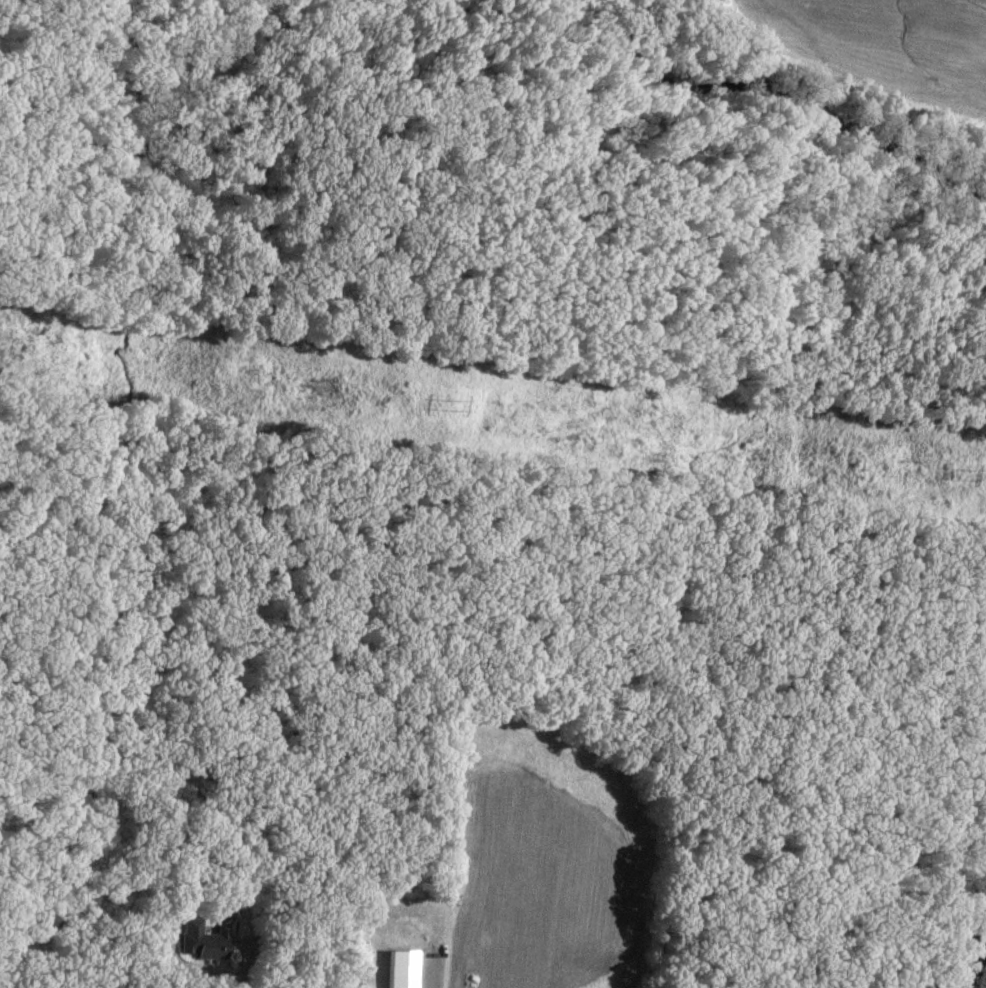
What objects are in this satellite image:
power tower: (457, 402)
power tower: (970, 472)
building: (198, 940)
road: (213, 976)
road: (428, 976)
road: (191, 984)

